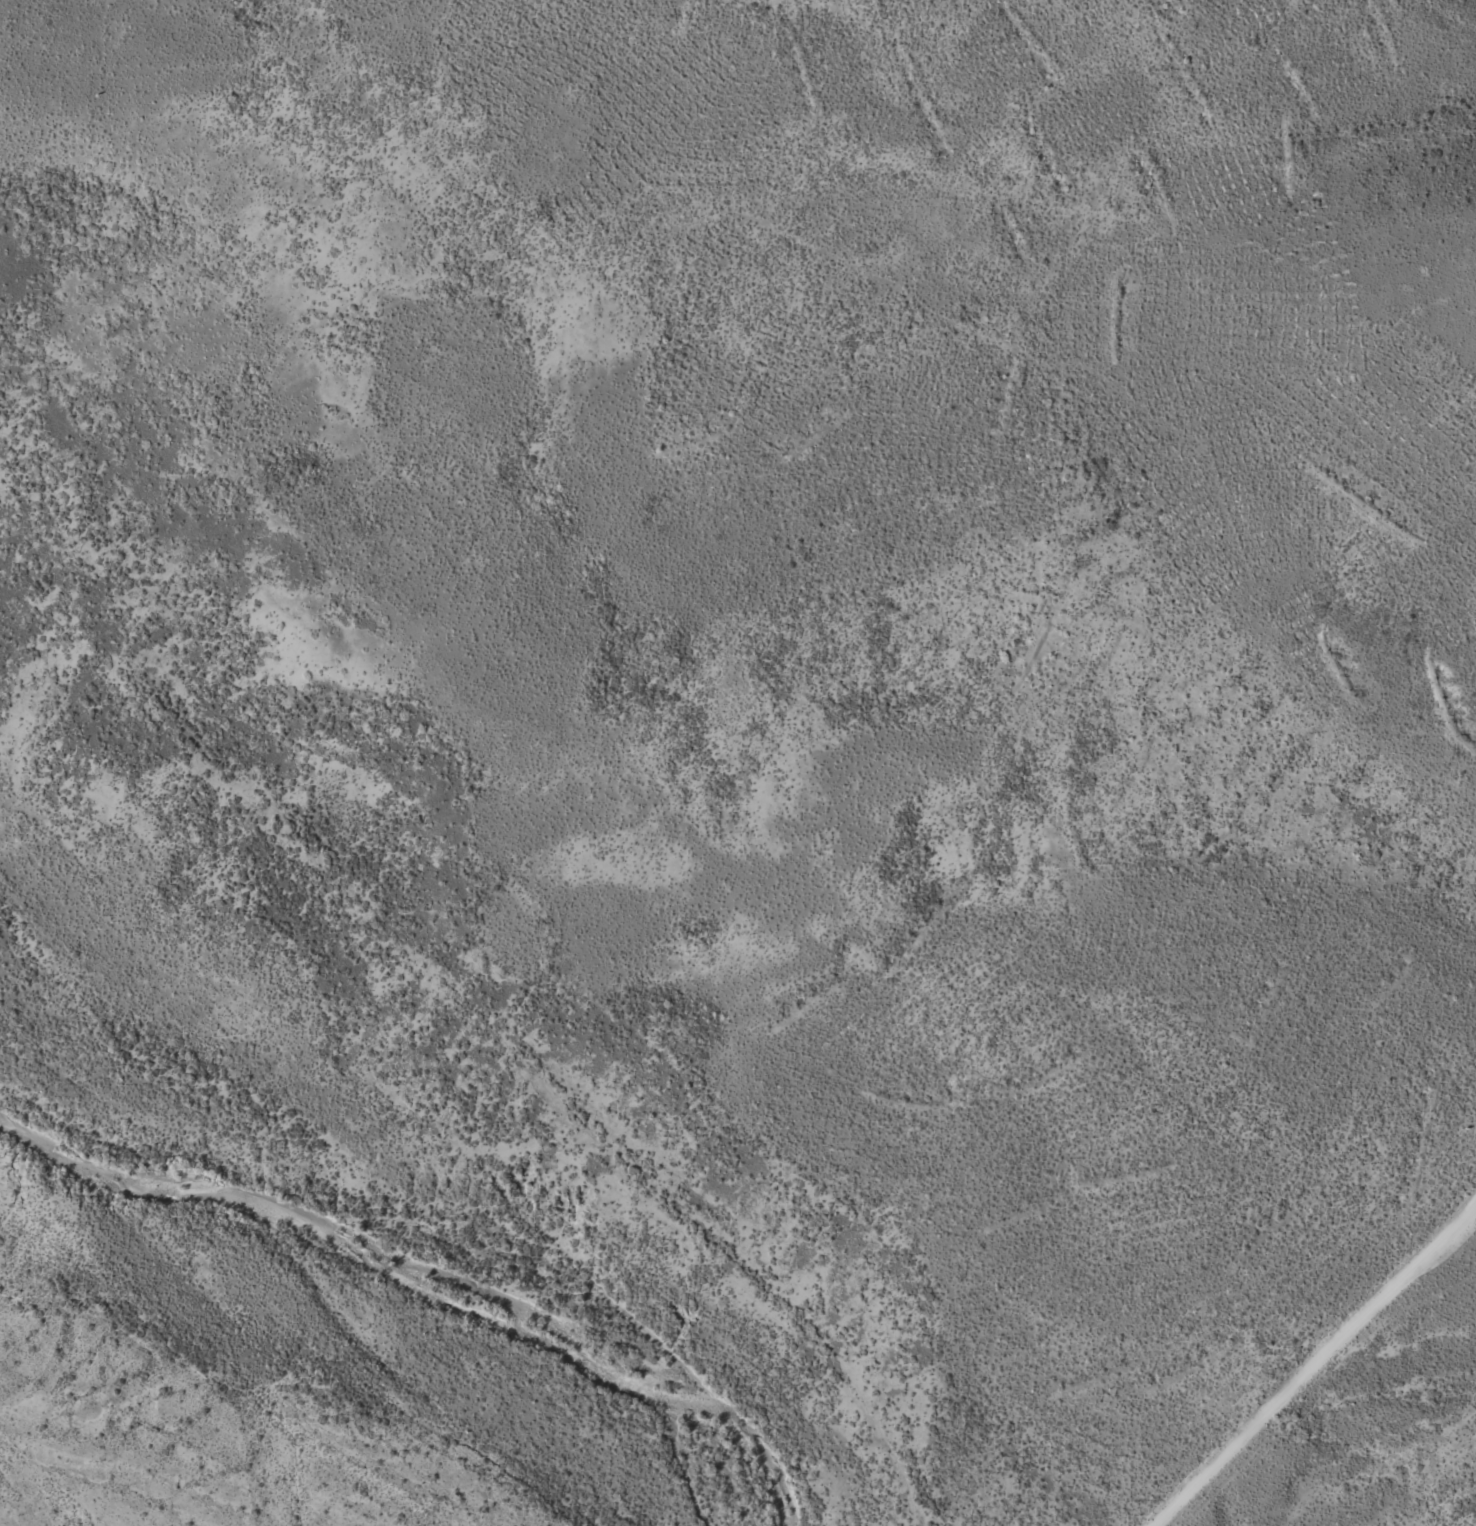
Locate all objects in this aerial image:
road: (1351, 1389)

